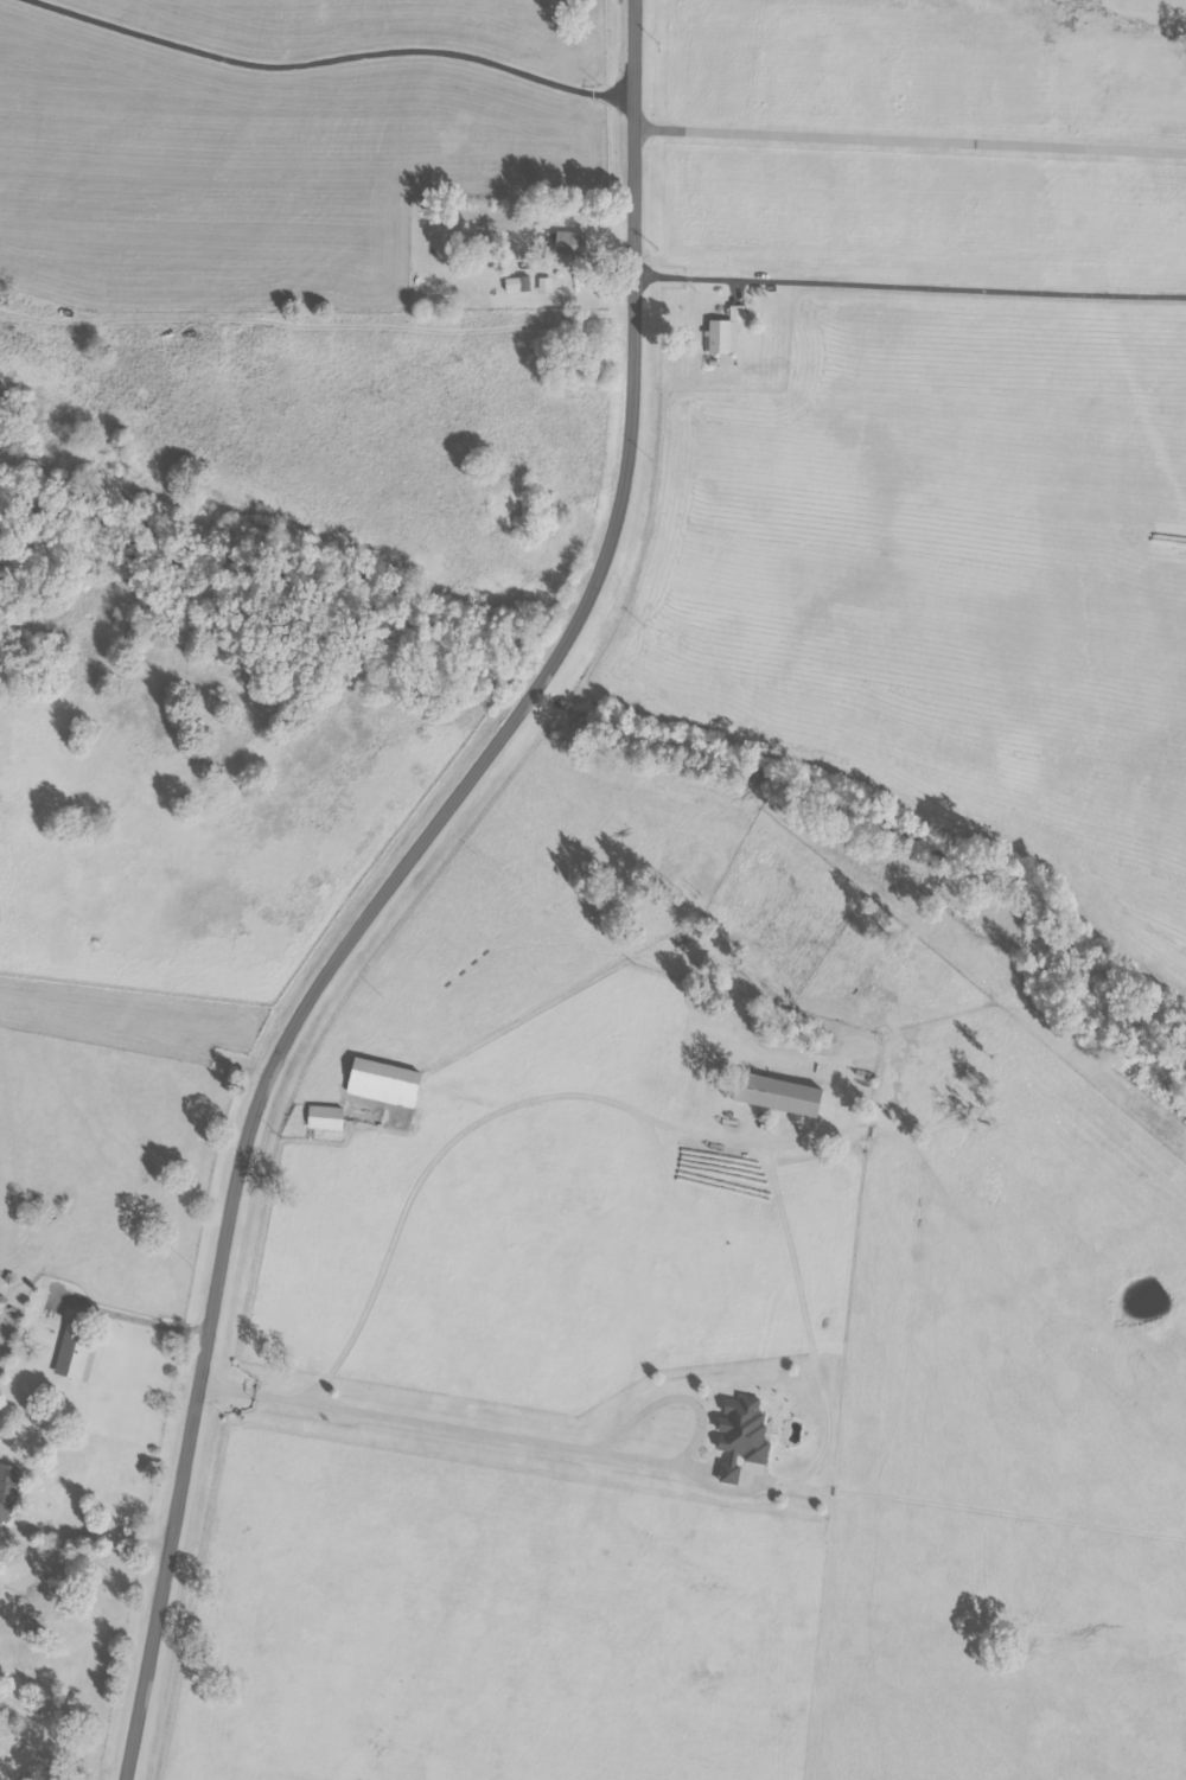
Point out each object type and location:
building: (569, 245)
building: (518, 285)
building: (546, 286)
building: (726, 332)
road: (404, 882)
building: (383, 1082)
building: (777, 1093)
building: (325, 1117)
building: (2, 1304)
building: (76, 1354)
building: (741, 1435)
building: (8, 1489)
building: (0, 1564)

